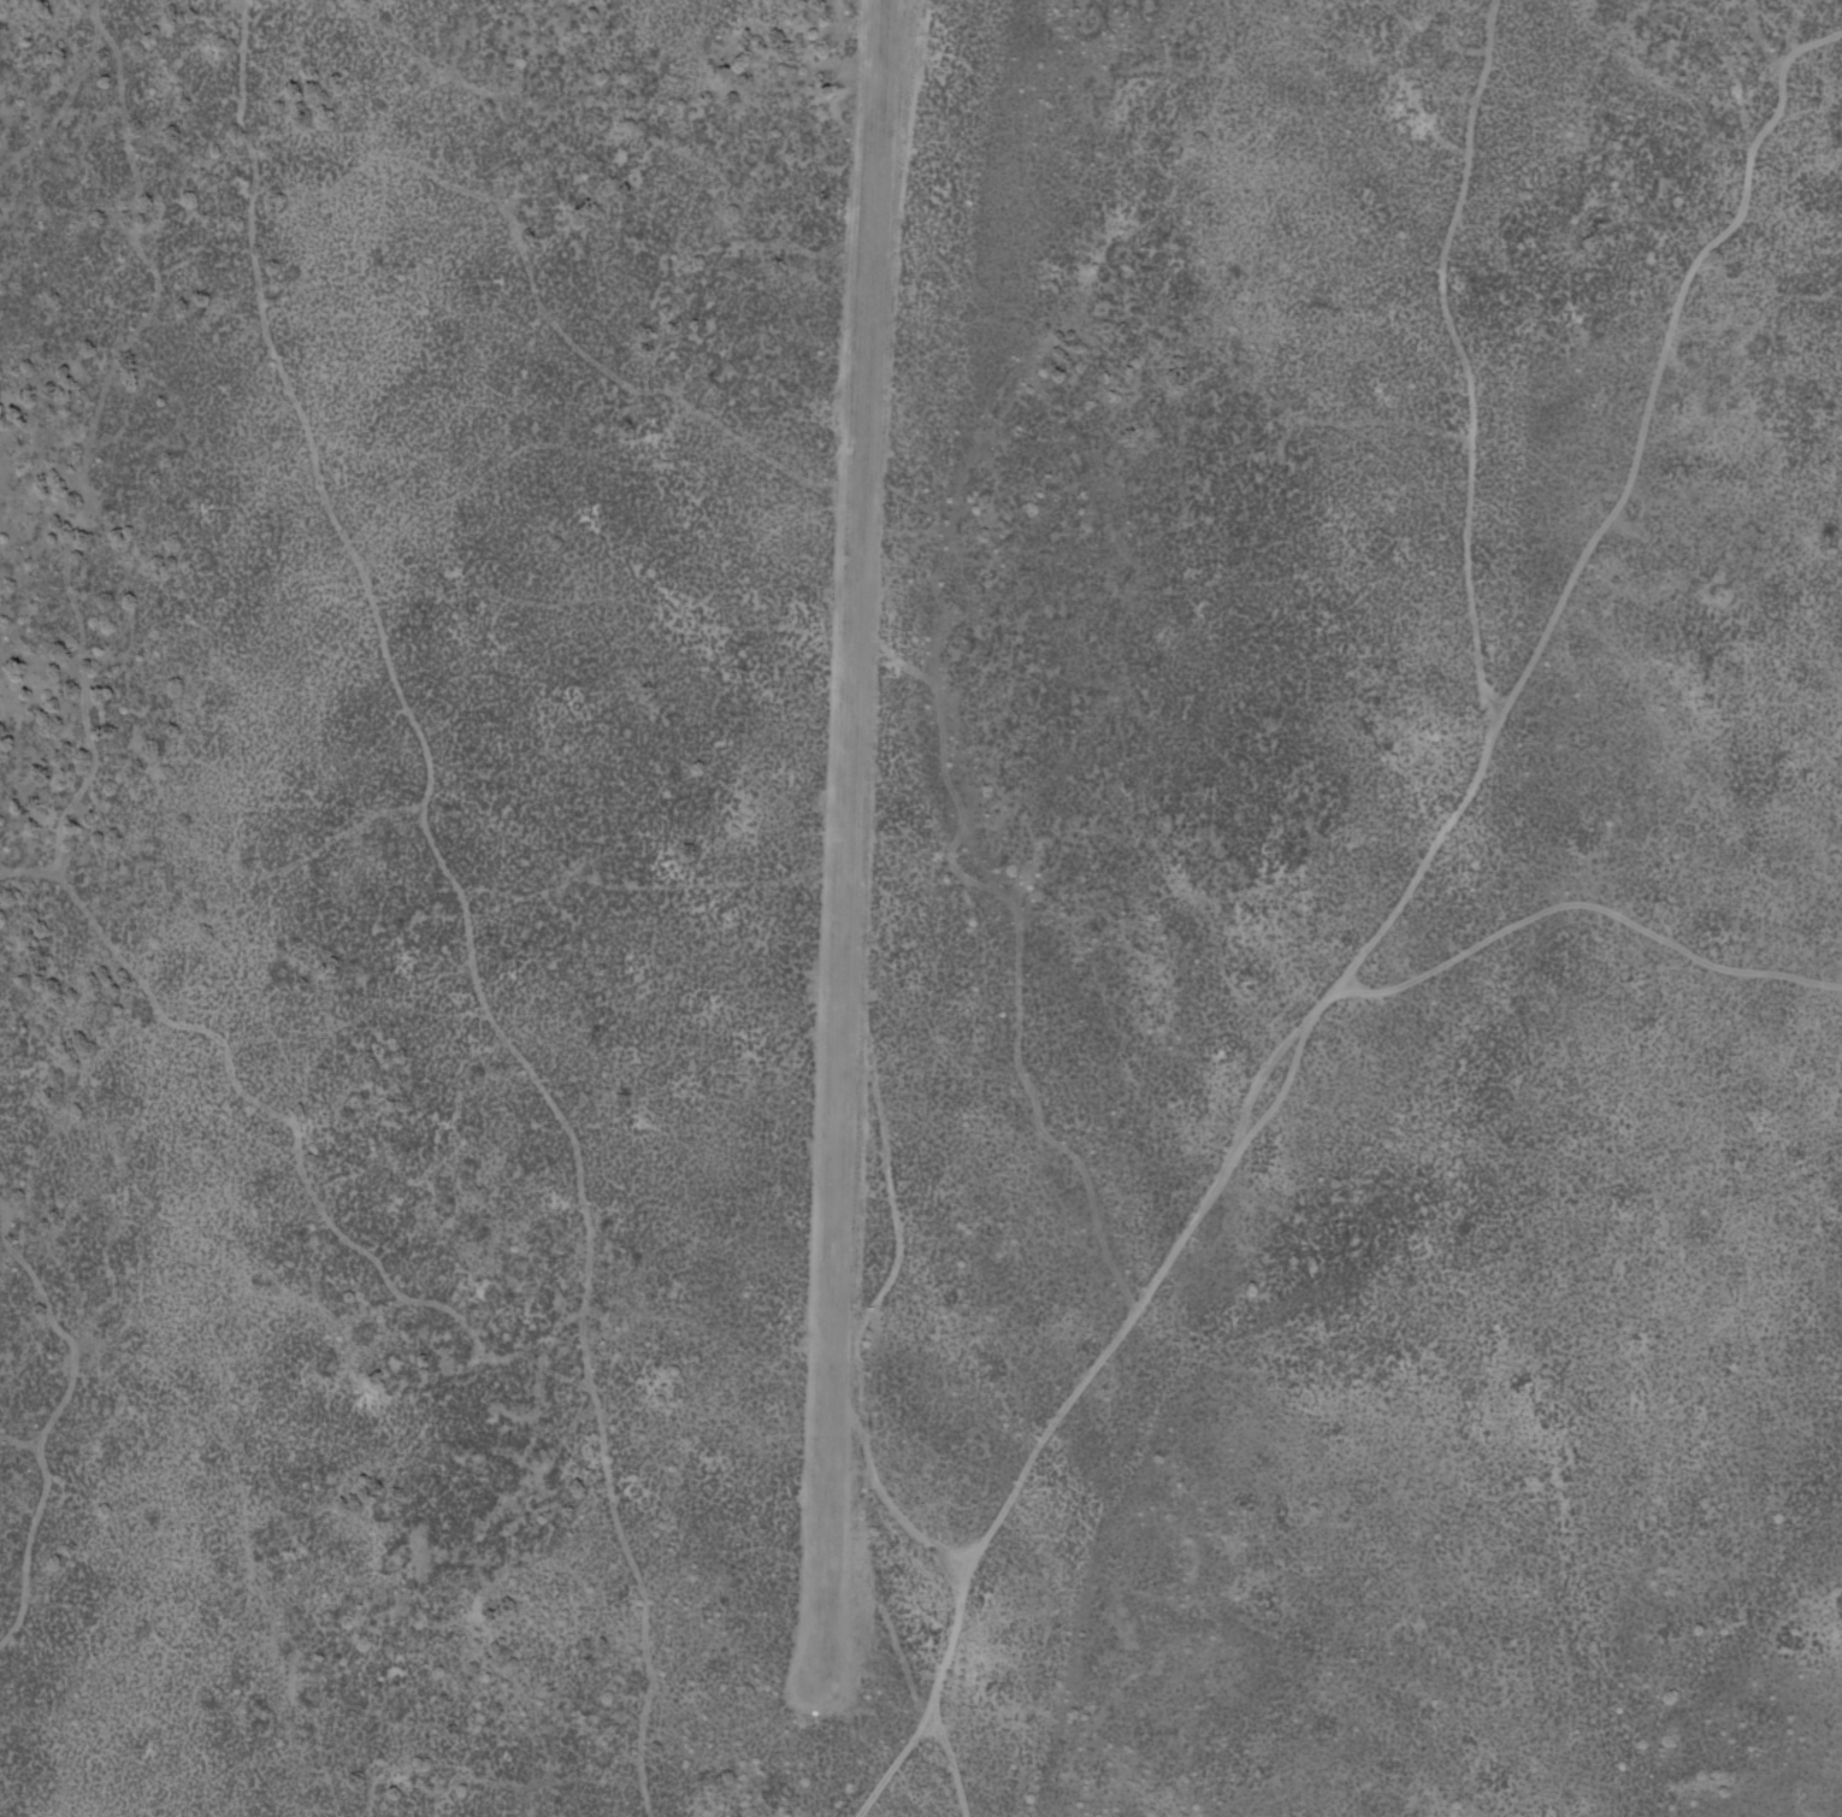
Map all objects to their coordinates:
airport runway: (850, 831)
road: (1446, 862)
road: (898, 919)
road: (926, 1769)

